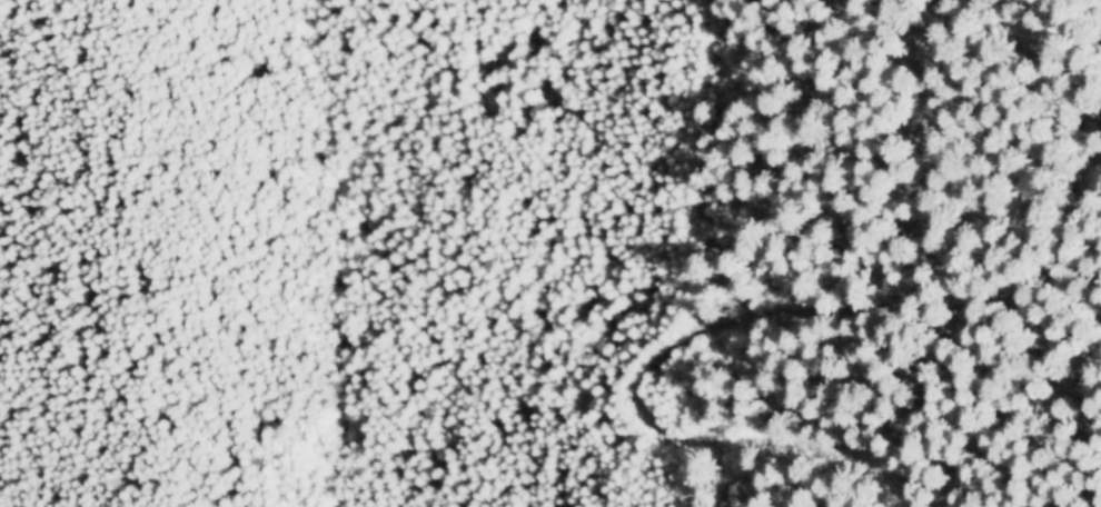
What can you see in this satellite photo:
road: (651, 321)

